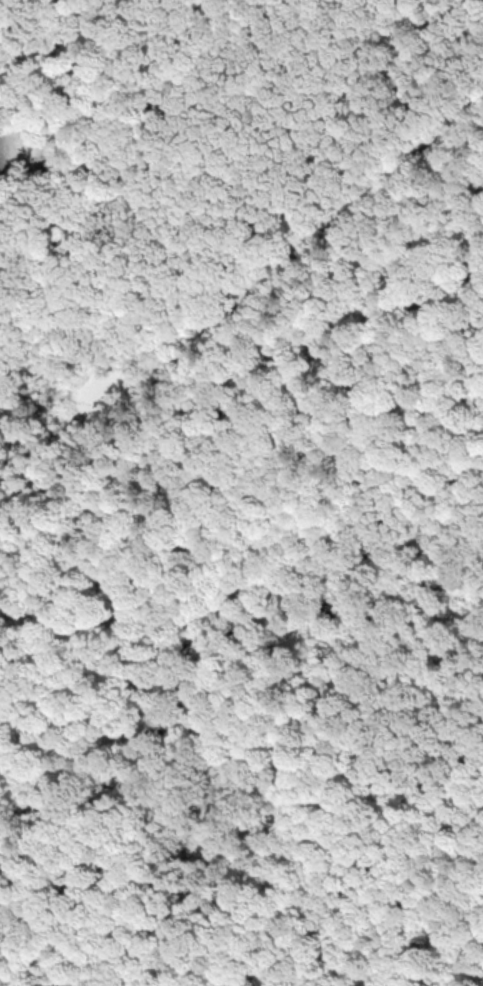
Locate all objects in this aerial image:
park: (240, 303)
road: (241, 306)

